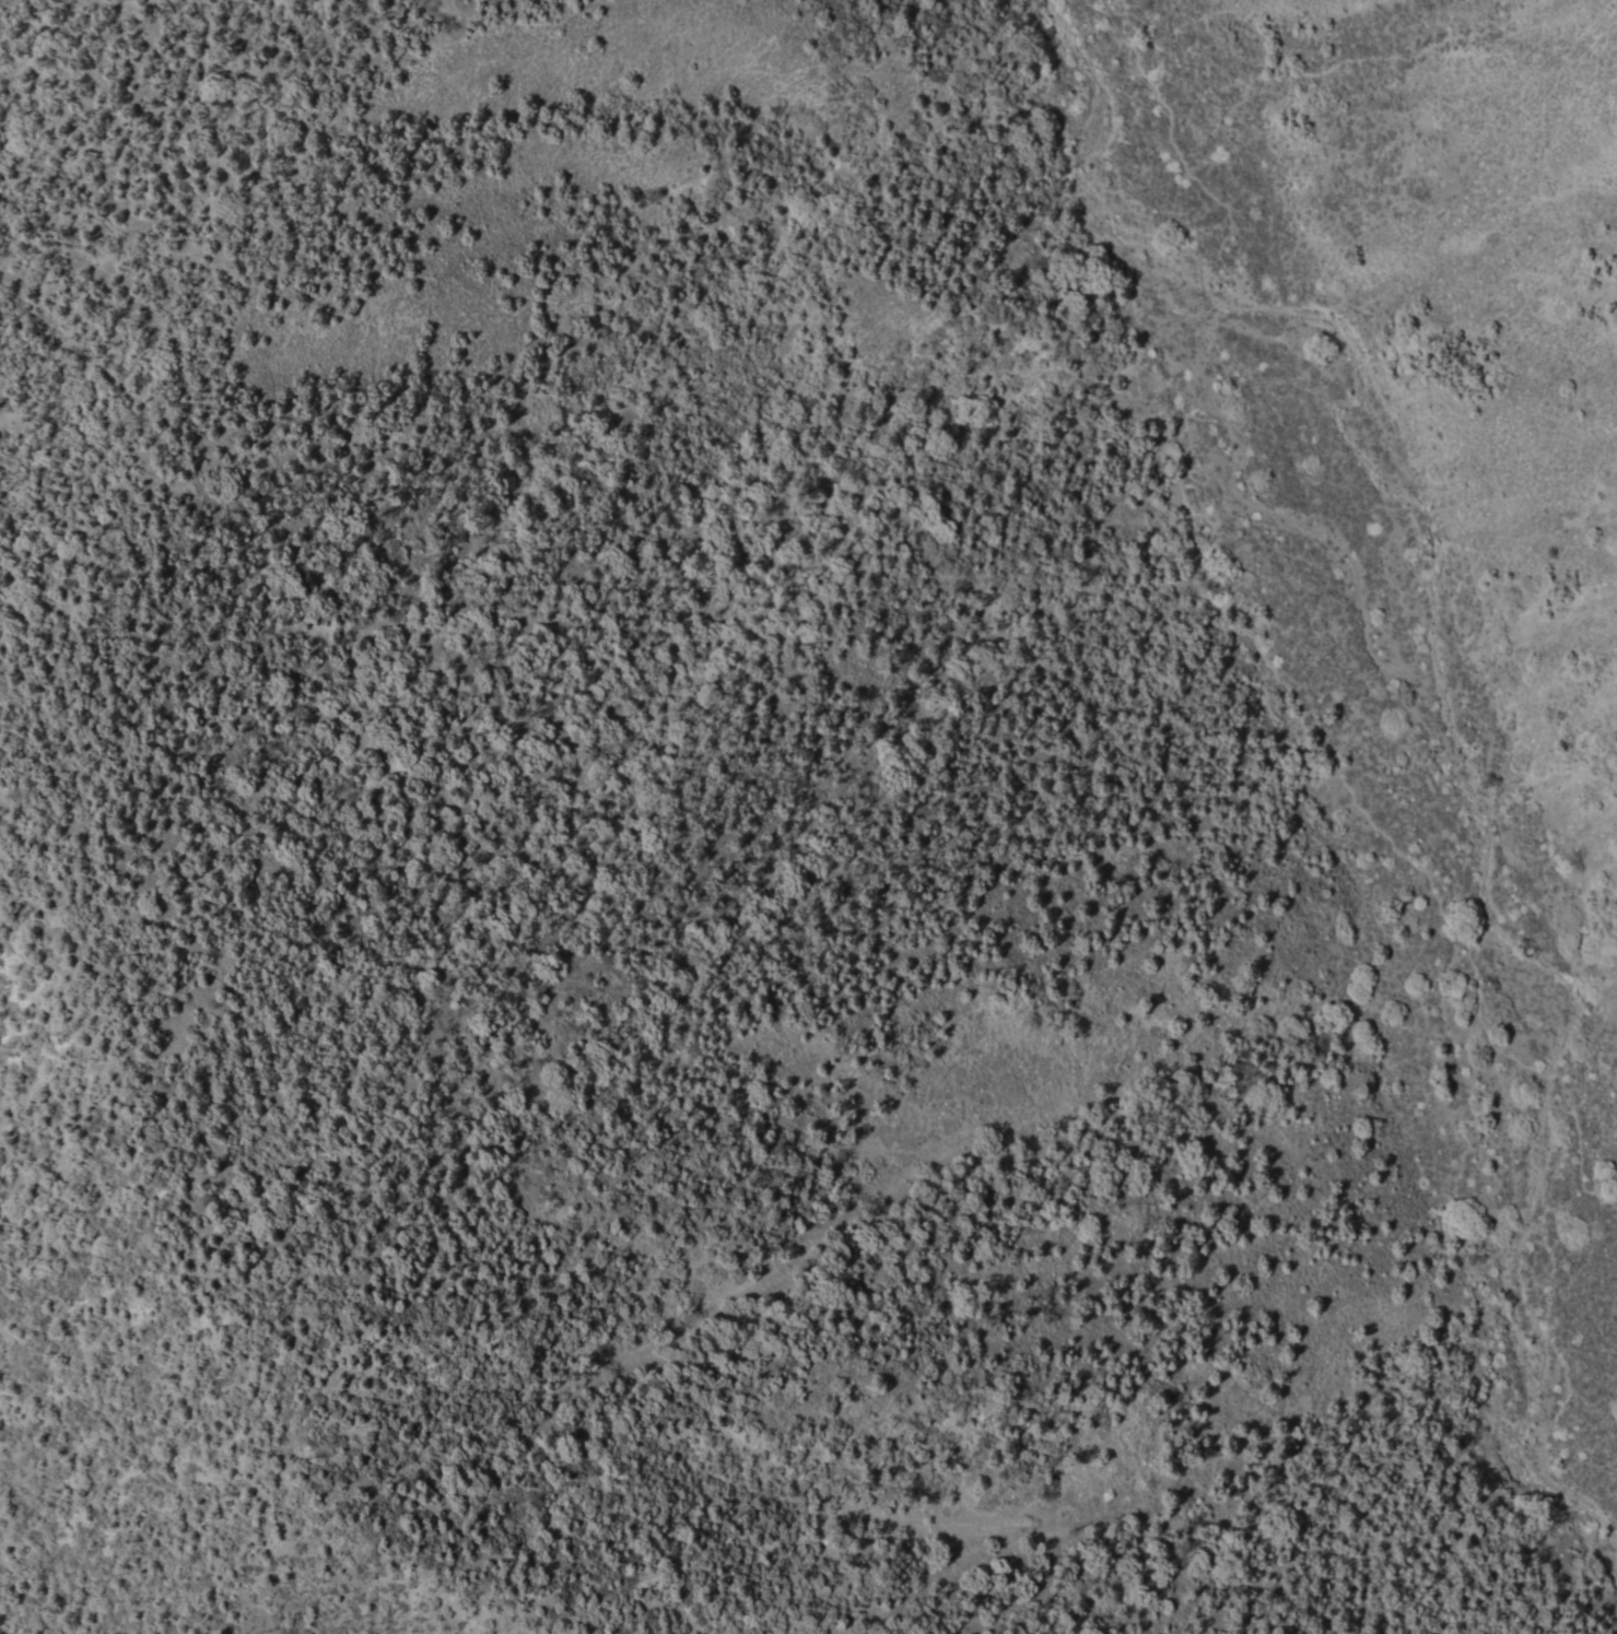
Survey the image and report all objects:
road: (1462, 499)

